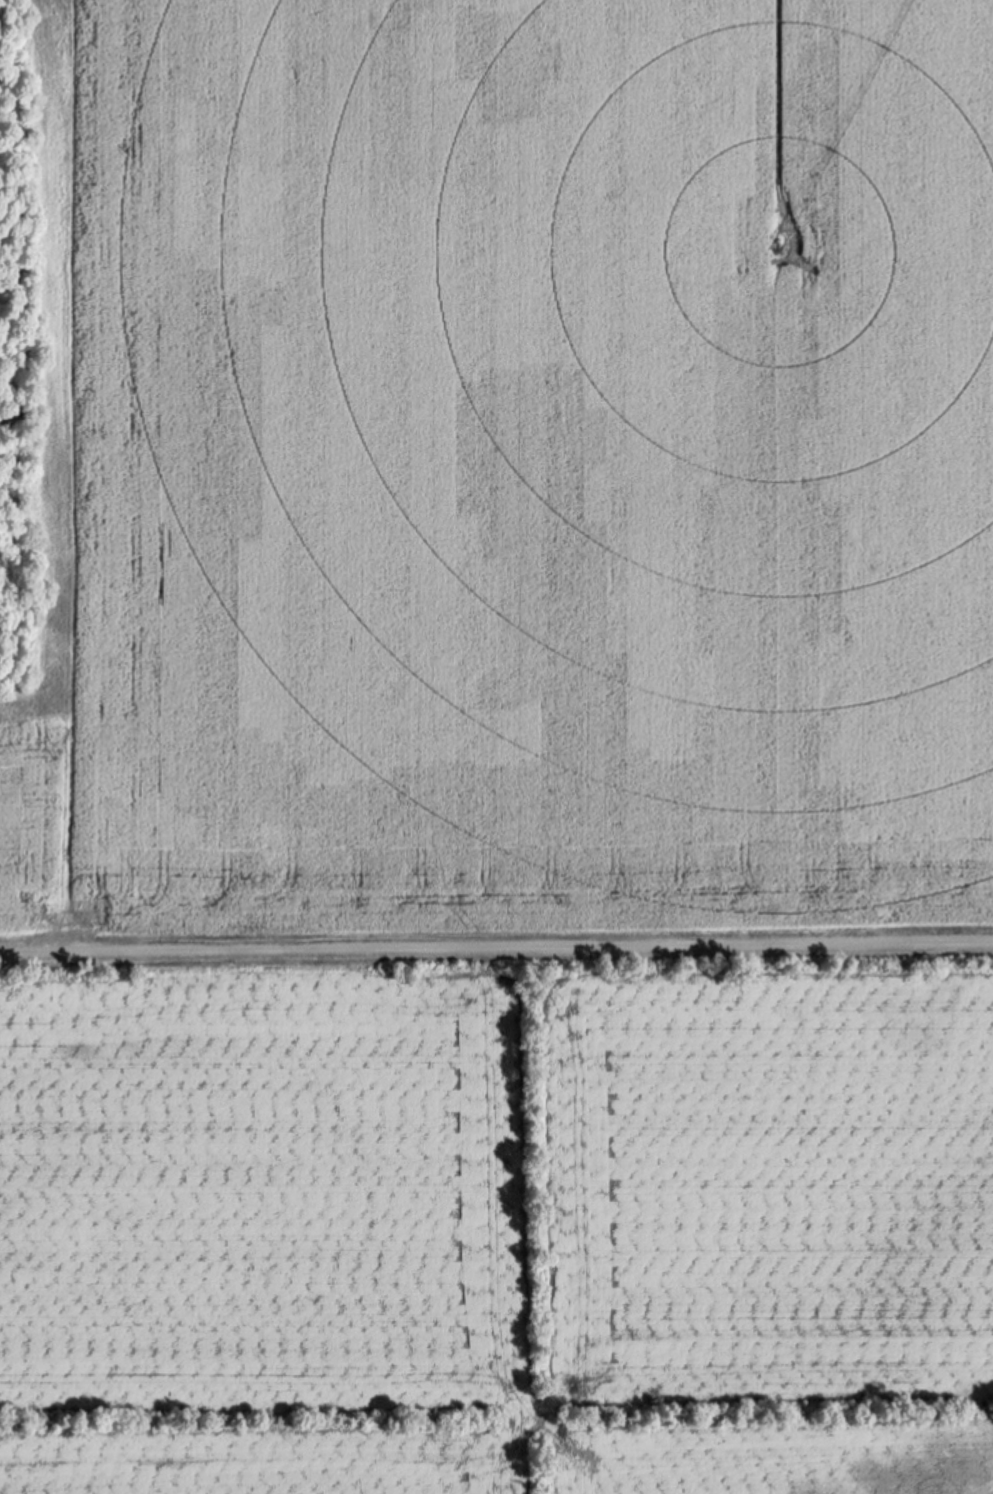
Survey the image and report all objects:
road: (496, 949)

